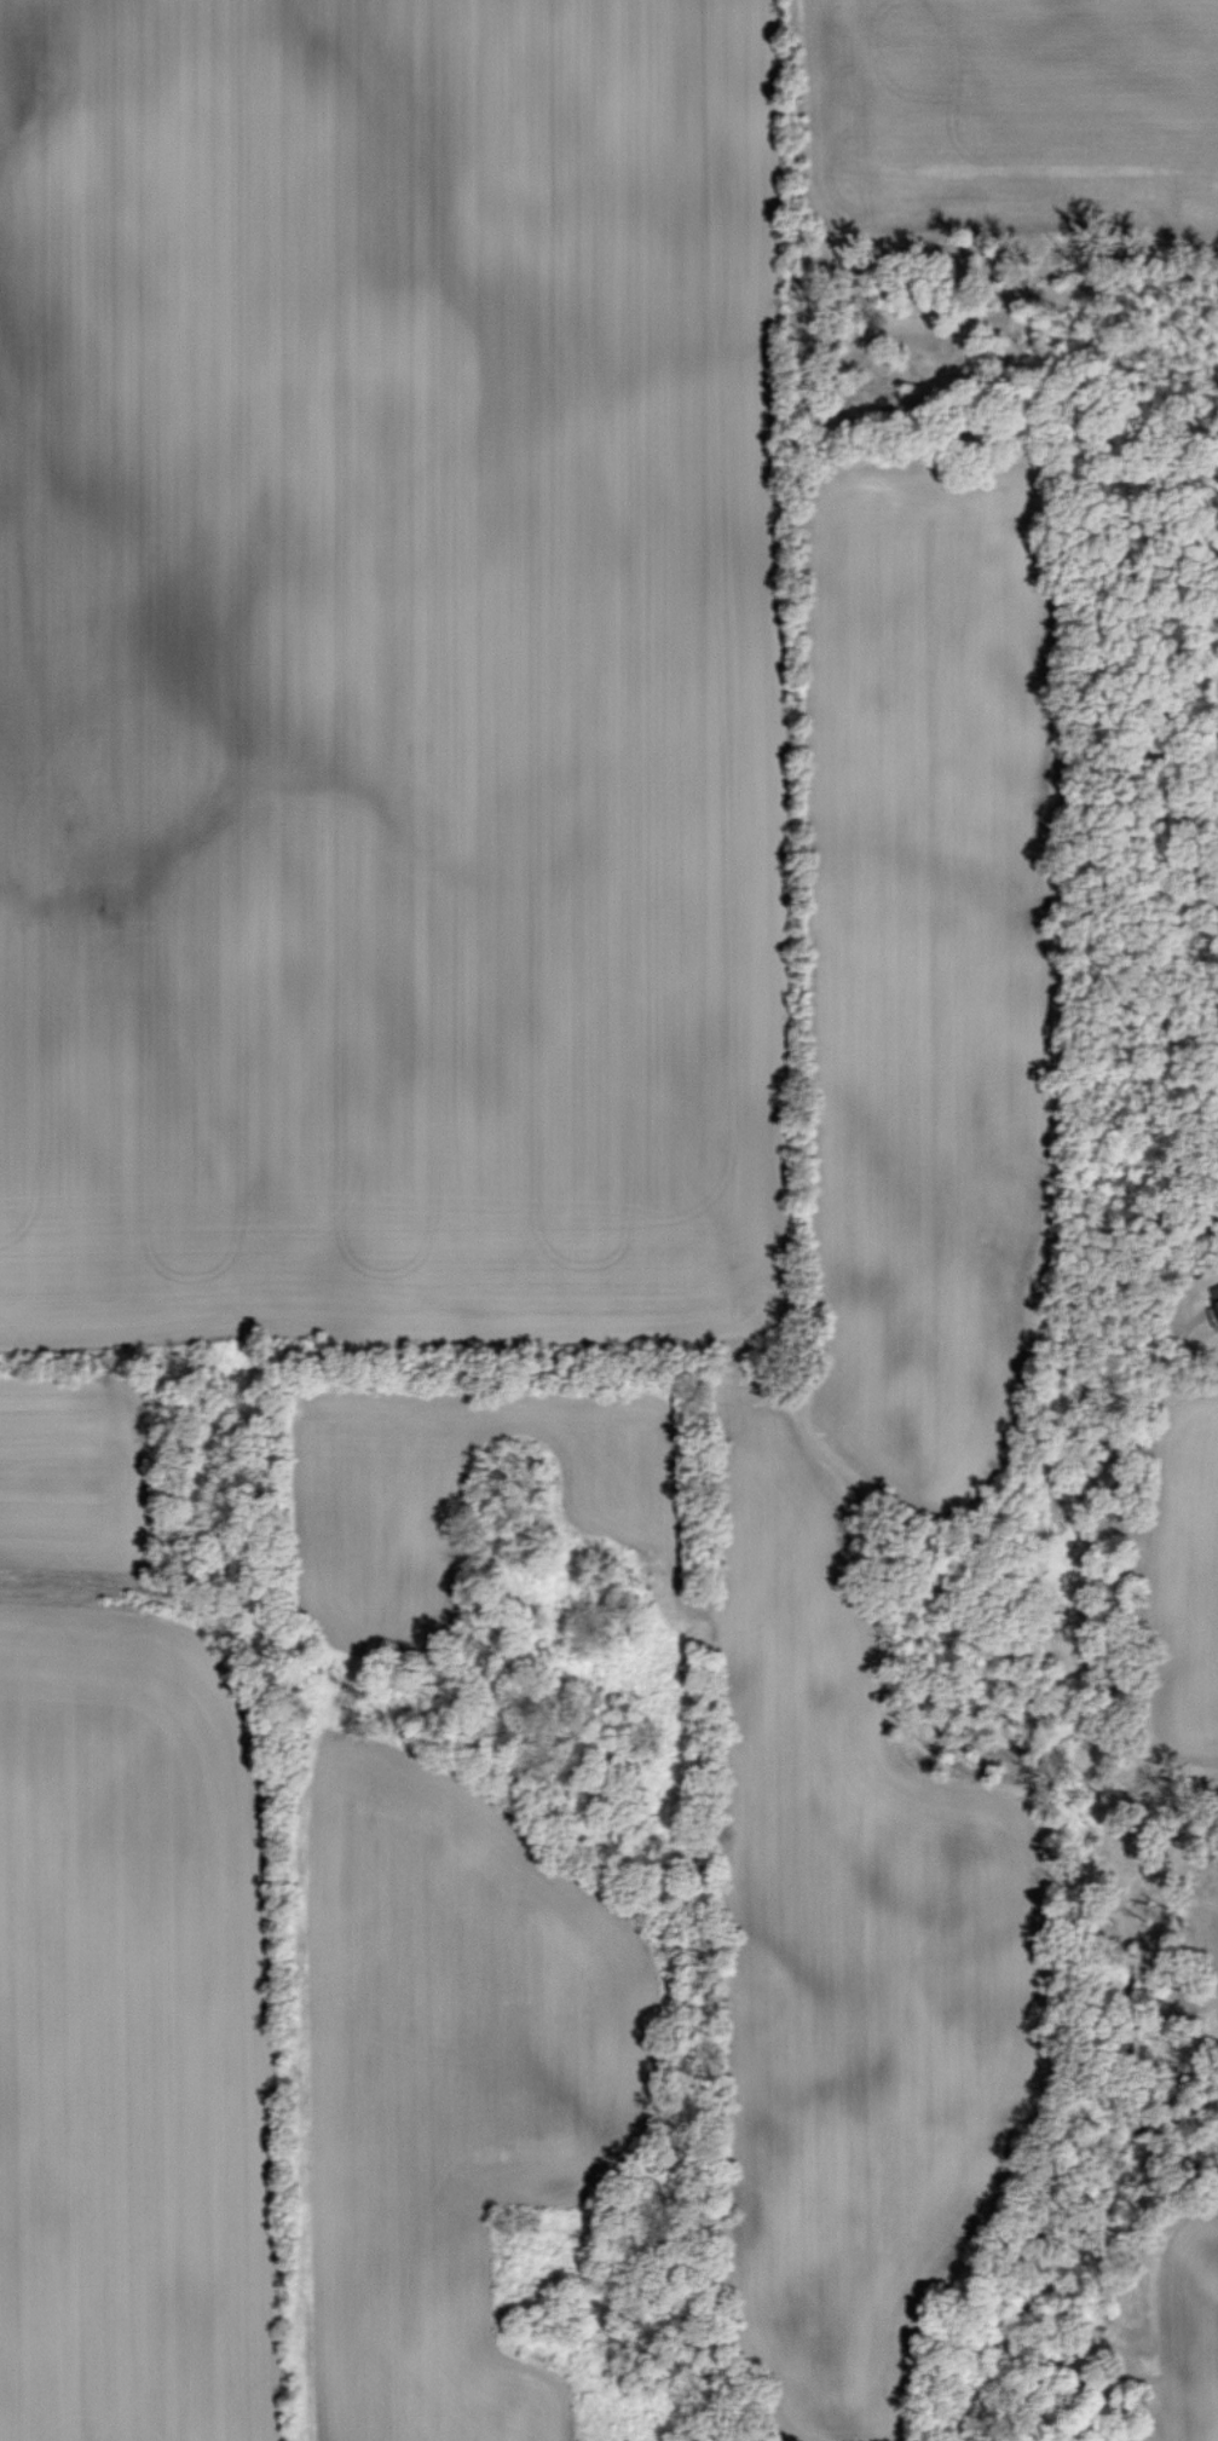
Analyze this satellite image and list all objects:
building: (1216, 1294)

